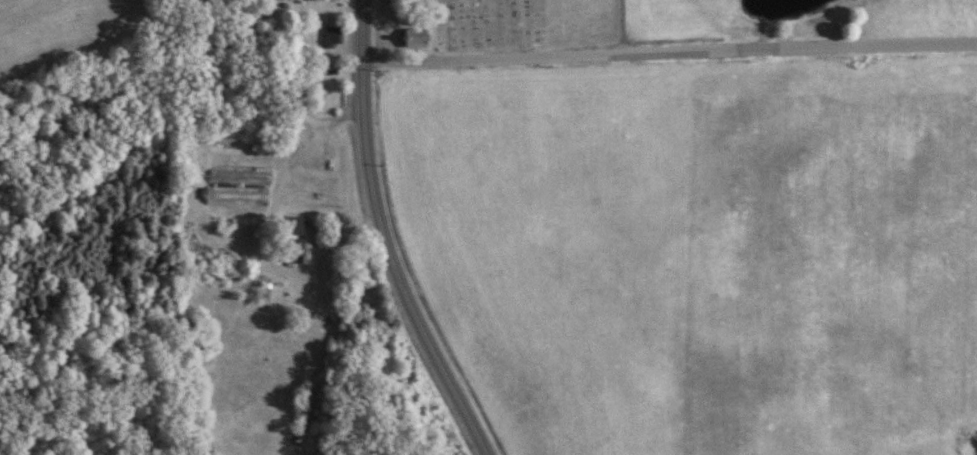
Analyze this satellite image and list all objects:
park: (524, 24)
building: (329, 37)
building: (408, 37)
road: (668, 51)
road: (298, 85)
building: (204, 196)
road: (278, 225)
road: (383, 237)
building: (302, 241)

